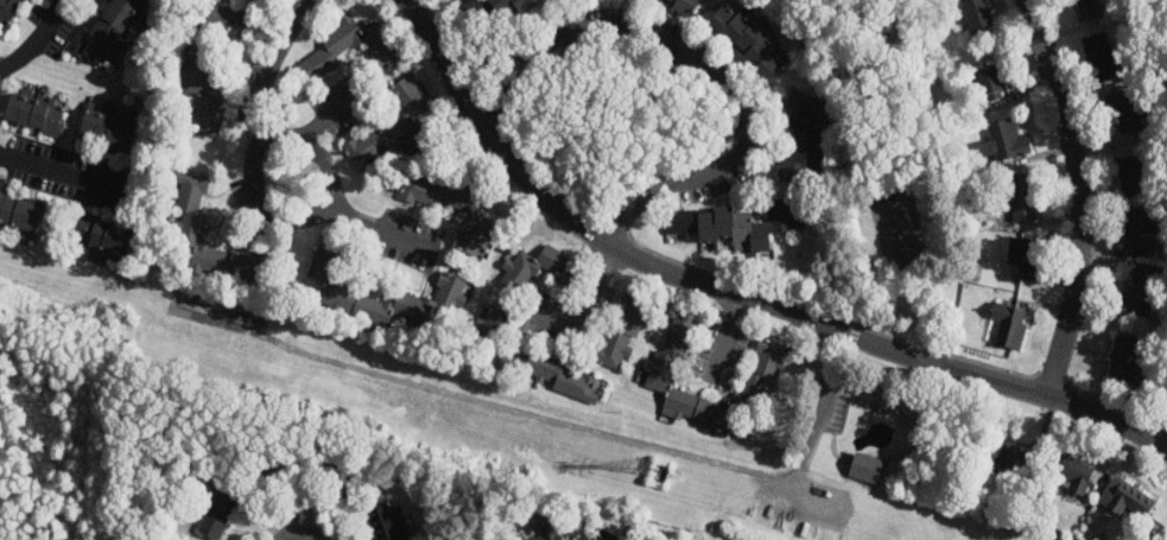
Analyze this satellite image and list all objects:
building: (679, 6)
building: (488, 9)
building: (1086, 9)
building: (7, 11)
building: (977, 14)
building: (112, 31)
road: (37, 38)
road: (557, 42)
building: (746, 42)
building: (344, 50)
building: (1101, 57)
building: (209, 68)
building: (990, 82)
road: (328, 112)
building: (1124, 113)
building: (34, 114)
building: (406, 120)
building: (107, 132)
building: (801, 135)
building: (1004, 142)
road: (312, 148)
road: (734, 157)
road: (62, 170)
building: (1131, 173)
road: (256, 186)
building: (0, 190)
road: (1078, 193)
building: (1023, 197)
building: (452, 208)
building: (20, 216)
building: (735, 225)
building: (186, 227)
building: (1137, 231)
building: (102, 237)
building: (1026, 253)
building: (539, 267)
building: (454, 286)
building: (1140, 292)
road: (734, 297)
road: (583, 304)
power tower: (103, 312)
building: (1009, 325)
building: (623, 331)
road: (725, 338)
building: (525, 358)
building: (1124, 358)
building: (662, 369)
building: (761, 376)
road: (826, 390)
building: (1015, 460)
building: (1073, 466)
building: (864, 468)
building: (267, 470)
power tower: (657, 471)
building: (335, 474)
building: (198, 479)
building: (1125, 498)
building: (217, 515)
building: (388, 522)
building: (548, 532)
building: (607, 535)

